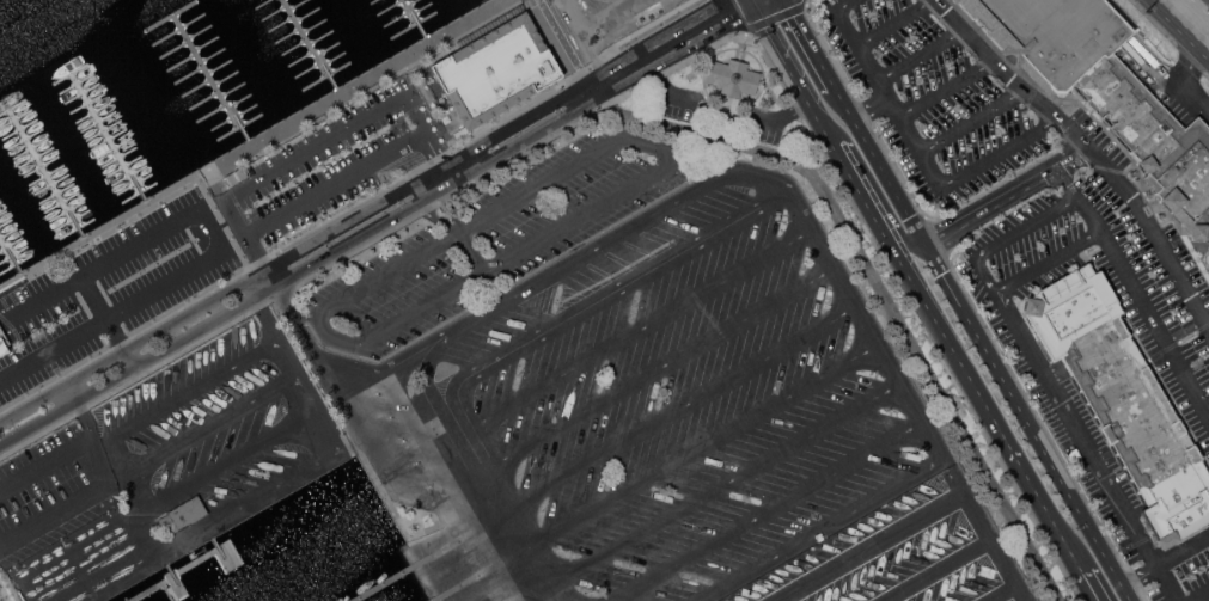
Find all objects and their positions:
building: (951, 0)
building: (954, 0)
road: (1208, 0)
road: (751, 5)
road: (765, 5)
traffic signals: (755, 11)
pier: (410, 19)
road: (605, 19)
road: (894, 22)
road: (728, 24)
road: (1178, 29)
road: (573, 39)
road: (558, 43)
road: (694, 44)
pier: (303, 47)
road: (738, 48)
road: (811, 48)
road: (921, 56)
building: (496, 69)
road: (645, 75)
building: (732, 76)
pier: (206, 79)
road: (1187, 81)
road: (598, 88)
road: (947, 90)
building: (1105, 91)
road: (871, 111)
road: (723, 112)
parking lot: (723, 118)
road: (972, 122)
pier: (114, 134)
road: (714, 136)
road: (916, 146)
road: (1089, 147)
road: (676, 157)
parking lot: (340, 158)
pier: (51, 170)
road: (883, 171)
road: (850, 176)
road: (344, 178)
road: (872, 182)
road: (695, 195)
road: (1007, 196)
parking lot: (1054, 207)
road: (364, 211)
road: (1009, 237)
building: (148, 238)
pier: (13, 246)
road: (466, 251)
road: (1048, 263)
road: (303, 272)
road: (79, 278)
road: (879, 289)
road: (1136, 289)
road: (607, 299)
parking lot: (90, 308)
road: (104, 324)
road: (300, 333)
road: (629, 336)
building: (2, 342)
parking lot: (627, 373)
road: (652, 376)
road: (188, 395)
building: (1123, 398)
road: (306, 399)
road: (674, 416)
road: (1028, 423)
road: (213, 424)
road: (1046, 430)
road: (91, 433)
road: (1003, 435)
road: (368, 441)
road: (353, 446)
road: (1087, 447)
road: (696, 453)
road: (114, 460)
road: (45, 461)
road: (227, 464)
road: (120, 478)
road: (471, 480)
parking lot: (53, 483)
road: (280, 487)
road: (718, 489)
road: (768, 513)
building: (183, 514)
road: (54, 515)
road: (141, 515)
road: (822, 531)
road: (983, 531)
road: (871, 547)
road: (1070, 550)
pier: (222, 553)
pier: (196, 562)
pier: (427, 562)
road: (1166, 563)
road: (936, 570)
pier: (478, 579)
pier: (177, 581)
road: (1091, 585)
pier: (153, 589)
pier: (167, 593)
road: (1002, 593)
pier: (526, 595)
park: (1, 596)
road: (1203, 599)

